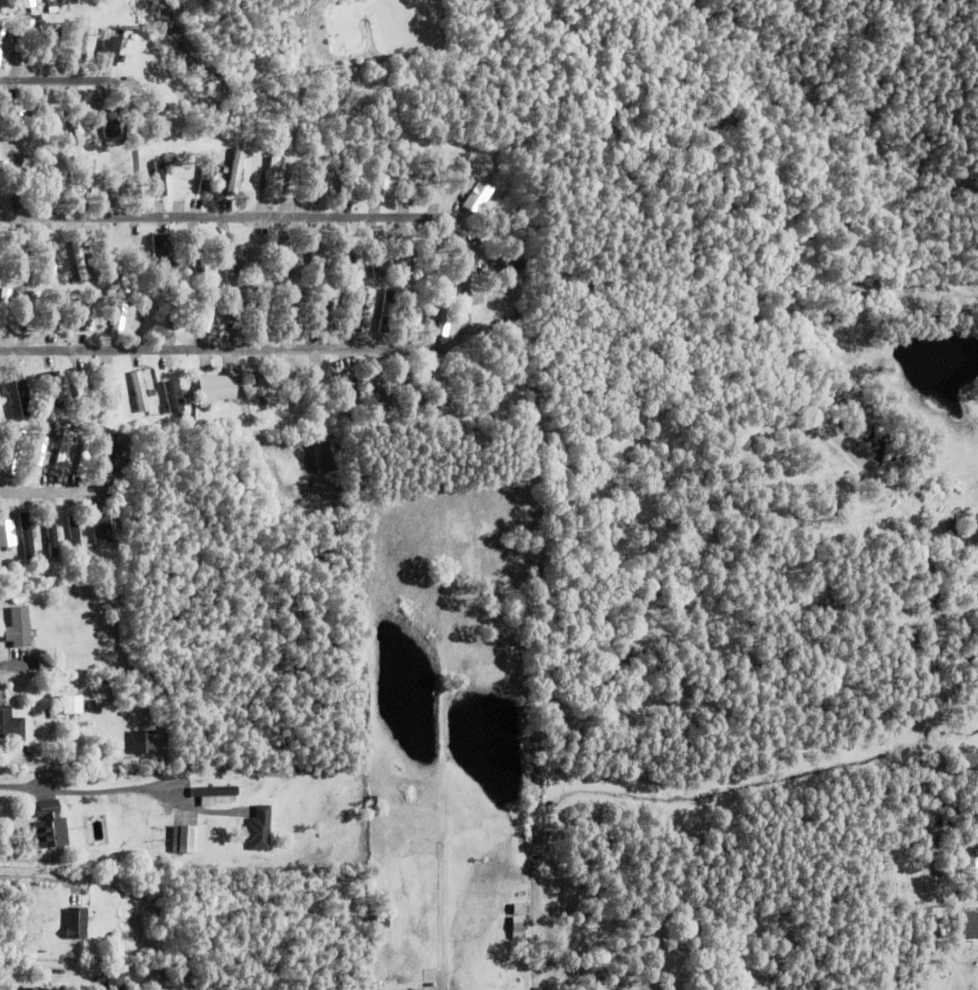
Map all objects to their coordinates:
building: (75, 0)
building: (51, 1)
building: (5, 2)
building: (29, 3)
building: (52, 8)
building: (2, 31)
building: (85, 41)
building: (25, 42)
building: (112, 46)
road: (125, 89)
building: (160, 109)
building: (19, 118)
building: (76, 121)
building: (110, 123)
building: (47, 124)
building: (0, 132)
building: (60, 143)
building: (19, 158)
building: (180, 162)
building: (235, 171)
building: (2, 173)
building: (272, 175)
building: (87, 176)
building: (294, 176)
building: (351, 176)
building: (27, 177)
building: (413, 177)
building: (443, 177)
building: (58, 178)
building: (324, 178)
building: (117, 180)
building: (205, 180)
building: (384, 180)
building: (478, 196)
building: (16, 229)
building: (501, 237)
building: (119, 253)
building: (436, 253)
building: (286, 254)
building: (168, 256)
building: (344, 256)
building: (228, 258)
building: (316, 258)
building: (406, 258)
building: (23, 259)
building: (197, 259)
building: (50, 260)
building: (79, 260)
building: (138, 260)
building: (504, 267)
road: (467, 284)
building: (504, 296)
building: (91, 309)
building: (180, 309)
building: (268, 309)
building: (297, 309)
building: (32, 310)
building: (122, 310)
building: (209, 310)
building: (237, 310)
building: (415, 310)
building: (445, 310)
building: (524, 310)
building: (55, 311)
building: (386, 311)
building: (2, 314)
building: (324, 314)
building: (436, 315)
building: (506, 326)
building: (490, 374)
building: (216, 389)
building: (260, 389)
building: (440, 389)
building: (140, 391)
building: (348, 391)
building: (56, 392)
building: (22, 393)
building: (290, 393)
building: (319, 393)
building: (382, 393)
building: (408, 393)
building: (111, 394)
building: (82, 395)
building: (174, 396)
building: (1, 414)
building: (264, 414)
building: (103, 430)
building: (63, 448)
building: (109, 449)
building: (39, 450)
building: (328, 451)
building: (14, 452)
building: (85, 453)
road: (58, 491)
building: (6, 533)
building: (98, 534)
building: (26, 535)
building: (74, 535)
building: (50, 536)
building: (18, 628)
building: (45, 664)
building: (72, 704)
building: (10, 724)
building: (142, 742)
road: (68, 791)
building: (217, 793)
building: (373, 801)
building: (50, 825)
building: (262, 827)
building: (185, 839)
building: (968, 857)
building: (944, 874)
building: (520, 908)
building: (381, 920)
building: (76, 923)
building: (969, 926)
building: (518, 928)
building: (115, 982)
building: (28, 989)
building: (410, 989)

